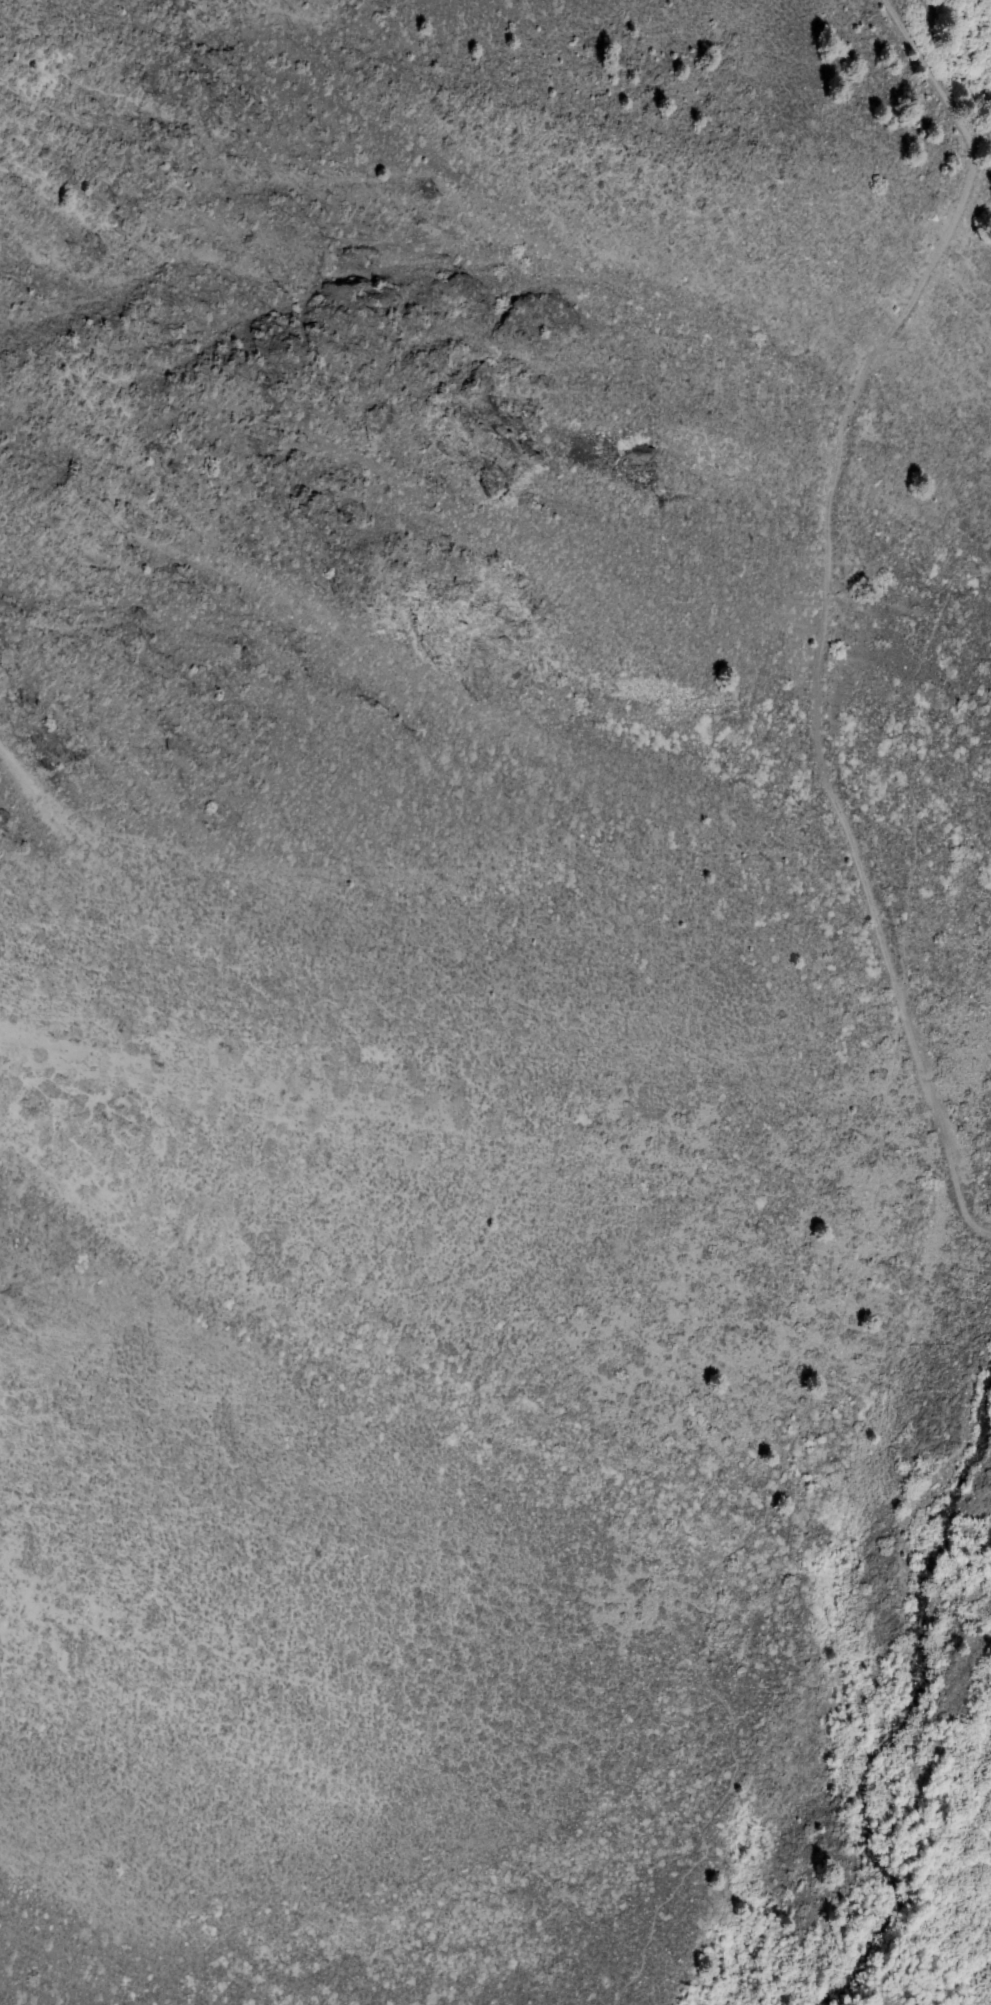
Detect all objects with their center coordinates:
road: (947, 45)
road: (986, 98)
road: (981, 128)
road: (831, 480)
road: (910, 769)
road: (941, 1123)
road: (725, 1550)

